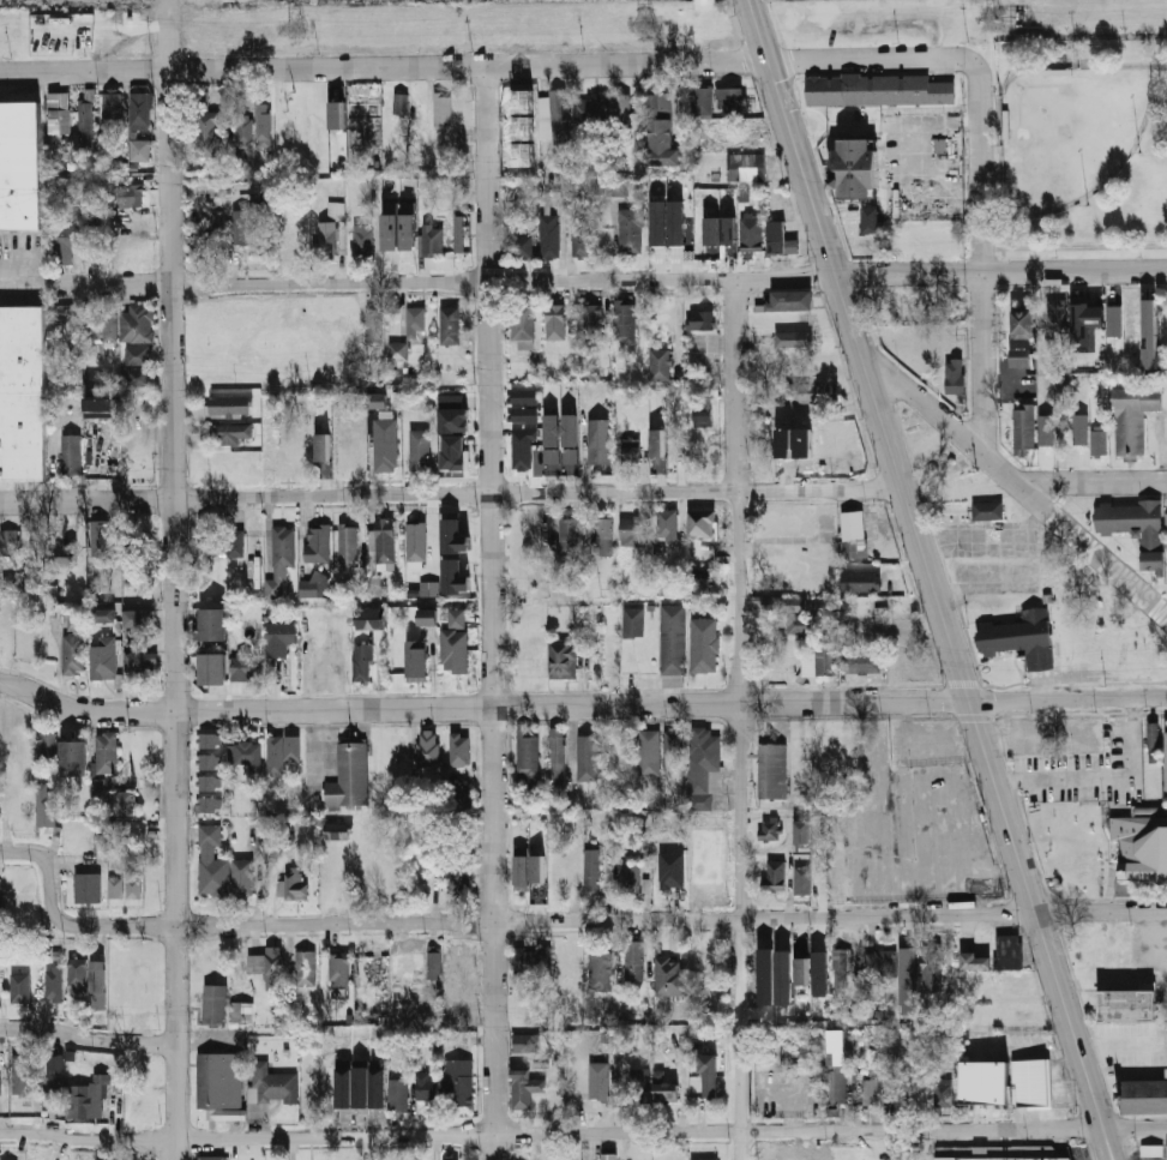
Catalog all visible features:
power tower: (995, 18)
power tower: (296, 25)
power tower: (643, 26)
road: (492, 65)
building: (878, 89)
building: (523, 100)
building: (702, 101)
building: (733, 101)
building: (112, 104)
building: (401, 104)
building: (443, 108)
building: (595, 108)
building: (335, 109)
building: (140, 110)
building: (559, 110)
building: (621, 110)
building: (59, 113)
building: (88, 119)
building: (266, 122)
building: (522, 127)
building: (243, 130)
building: (205, 131)
building: (661, 132)
park: (1066, 134)
building: (140, 150)
building: (523, 154)
building: (745, 166)
building: (855, 167)
building: (18, 168)
road: (804, 178)
building: (130, 196)
building: (552, 198)
building: (335, 210)
building: (871, 221)
building: (657, 222)
building: (674, 223)
building: (241, 227)
building: (408, 227)
building: (391, 229)
building: (630, 229)
building: (728, 230)
building: (711, 232)
building: (459, 234)
building: (751, 234)
building: (549, 235)
building: (581, 236)
building: (362, 238)
building: (778, 239)
building: (89, 240)
building: (326, 240)
building: (65, 241)
building: (432, 241)
building: (522, 245)
building: (200, 246)
road: (982, 263)
road: (609, 278)
building: (789, 300)
building: (1055, 314)
building: (591, 315)
building: (700, 319)
building: (1113, 319)
building: (414, 320)
building: (554, 321)
building: (622, 321)
building: (136, 323)
building: (1022, 323)
building: (1084, 323)
building: (373, 324)
building: (449, 325)
building: (522, 325)
building: (109, 326)
building: (1149, 333)
building: (793, 338)
building: (397, 350)
building: (137, 354)
building: (1019, 357)
building: (658, 365)
building: (137, 375)
building: (954, 375)
building: (812, 391)
building: (23, 393)
building: (523, 396)
building: (375, 399)
building: (100, 407)
building: (222, 407)
building: (452, 413)
building: (522, 414)
building: (1132, 416)
building: (702, 417)
road: (883, 423)
building: (1024, 427)
building: (1045, 428)
building: (1079, 428)
building: (569, 429)
building: (229, 433)
building: (598, 440)
building: (1097, 441)
building: (551, 443)
building: (385, 444)
building: (321, 446)
building: (419, 450)
building: (631, 450)
building: (521, 451)
building: (656, 451)
building: (452, 452)
building: (70, 453)
building: (569, 461)
road: (1017, 482)
road: (1096, 483)
road: (452, 495)
building: (987, 510)
building: (667, 523)
building: (700, 523)
building: (1137, 529)
building: (631, 530)
building: (206, 535)
building: (569, 535)
building: (603, 535)
building: (852, 535)
building: (453, 536)
building: (235, 541)
building: (415, 541)
building: (8, 542)
building: (317, 543)
building: (347, 545)
building: (381, 545)
building: (62, 554)
building: (279, 560)
building: (453, 576)
road: (172, 579)
building: (860, 581)
building: (314, 584)
building: (428, 588)
road: (492, 613)
building: (103, 614)
building: (427, 617)
building: (369, 618)
building: (458, 618)
building: (72, 620)
building: (142, 620)
building: (633, 621)
building: (213, 624)
building: (801, 625)
building: (278, 637)
building: (1023, 638)
building: (673, 644)
building: (704, 644)
building: (453, 650)
building: (72, 654)
building: (104, 659)
building: (140, 660)
building: (416, 660)
building: (563, 660)
building: (817, 660)
building: (362, 662)
building: (861, 662)
building: (246, 666)
building: (211, 668)
road: (581, 708)
road: (740, 719)
building: (1154, 737)
building: (209, 740)
building: (674, 741)
building: (48, 746)
building: (428, 747)
building: (459, 747)
road: (321, 750)
building: (282, 751)
building: (528, 751)
building: (106, 752)
building: (395, 752)
building: (649, 752)
building: (245, 753)
building: (557, 755)
building: (589, 757)
building: (73, 758)
building: (1166, 758)
building: (209, 762)
building: (703, 765)
building: (771, 770)
road: (1100, 774)
building: (349, 776)
building: (209, 782)
building: (97, 788)
building: (462, 795)
building: (124, 803)
building: (209, 805)
building: (44, 806)
road: (1006, 812)
building: (769, 829)
building: (337, 830)
building: (801, 834)
building: (100, 842)
building: (1139, 846)
building: (222, 867)
building: (590, 871)
building: (563, 873)
building: (628, 873)
building: (670, 874)
building: (774, 874)
building: (518, 876)
building: (458, 879)
building: (802, 879)
building: (293, 885)
building: (86, 886)
building: (124, 886)
road: (558, 921)
building: (1007, 951)
building: (633, 960)
building: (975, 960)
building: (459, 961)
building: (800, 961)
building: (531, 962)
building: (880, 963)
building: (433, 964)
building: (269, 967)
building: (305, 967)
building: (841, 967)
building: (931, 968)
building: (338, 969)
building: (600, 970)
building: (819, 973)
building: (669, 975)
building: (907, 980)
building: (54, 984)
building: (86, 986)
building: (19, 987)
building: (1127, 1004)
building: (213, 1005)
building: (240, 1012)
road: (86, 1036)
building: (527, 1042)
building: (836, 1048)
building: (19, 1072)
building: (54, 1075)
building: (708, 1075)
building: (0, 1078)
building: (598, 1080)
building: (218, 1081)
building: (458, 1081)
building: (983, 1082)
building: (426, 1084)
building: (638, 1084)
building: (1030, 1084)
building: (270, 1086)
building: (668, 1087)
building: (524, 1088)
building: (836, 1088)
building: (890, 1089)
building: (942, 1092)
building: (870, 1093)
building: (1144, 1093)
building: (398, 1094)
road: (792, 1095)
building: (85, 1098)
road: (583, 1131)
road: (1107, 1148)
road: (1112, 1148)
building: (1151, 1149)
building: (998, 1153)
building: (622, 1155)
building: (211, 1158)
building: (561, 1158)
building: (450, 1159)
building: (703, 1159)

